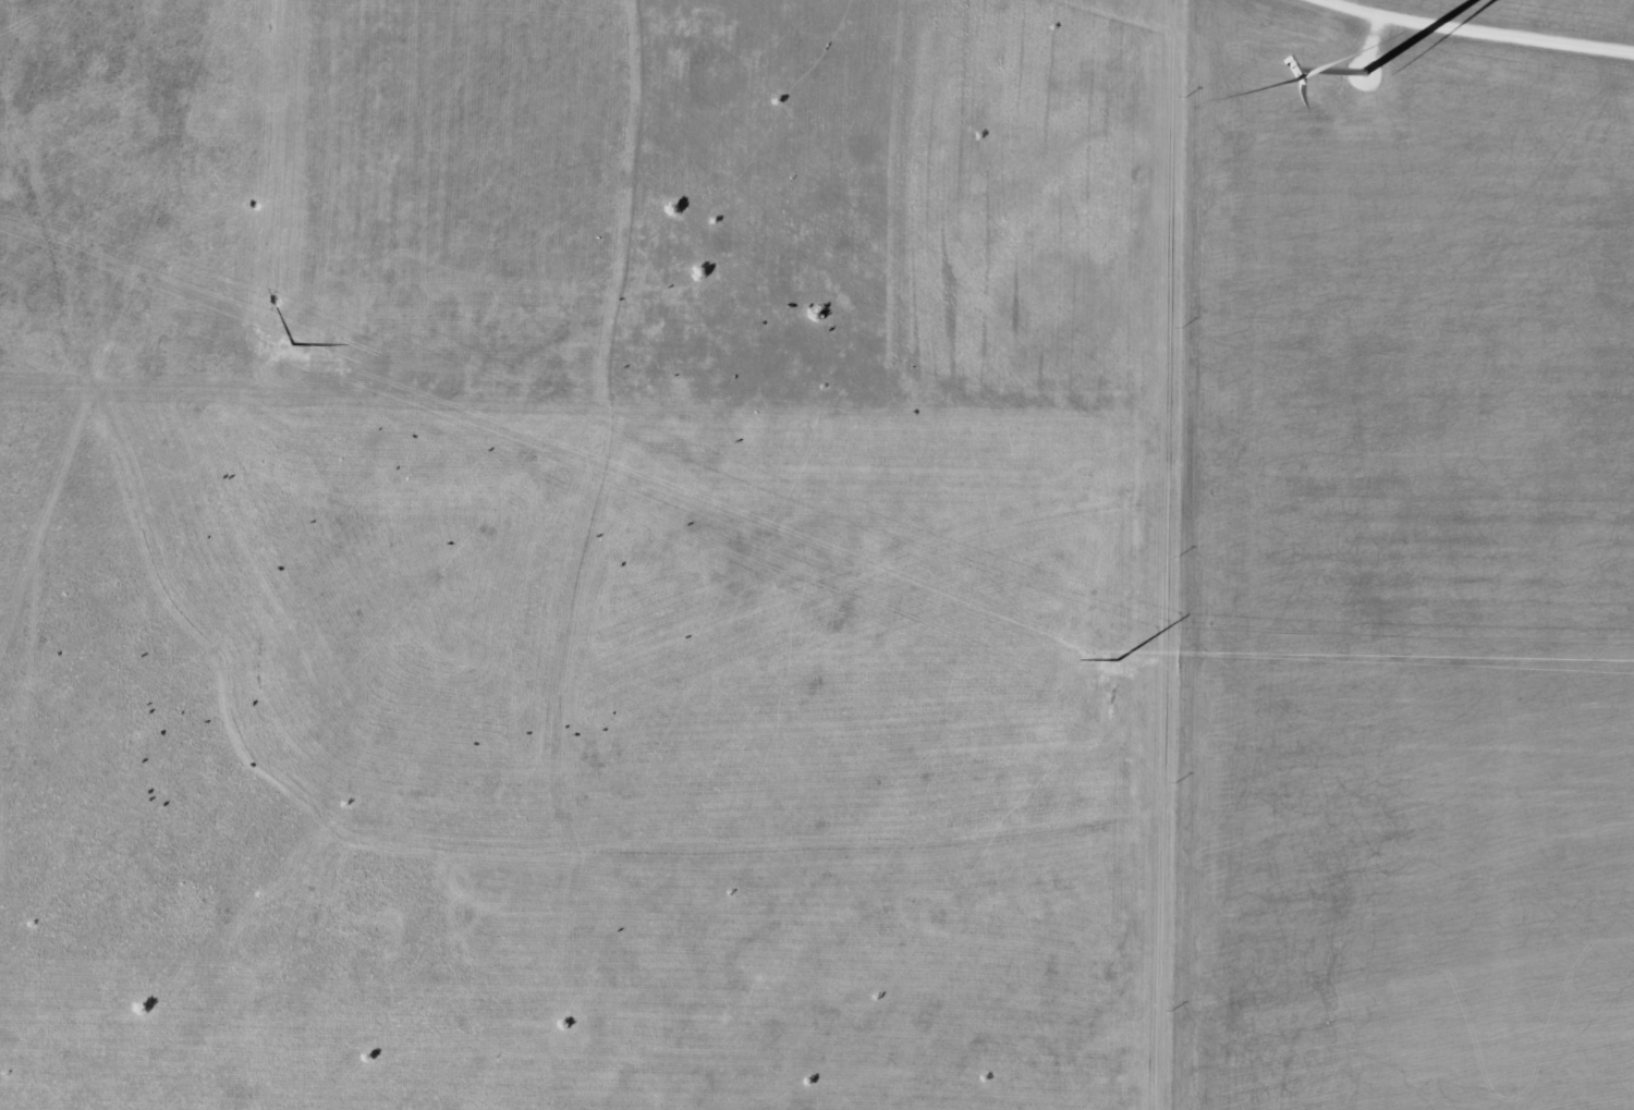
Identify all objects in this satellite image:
wind turbine: (1368, 74)
power tower: (293, 346)
power tower: (1117, 661)

